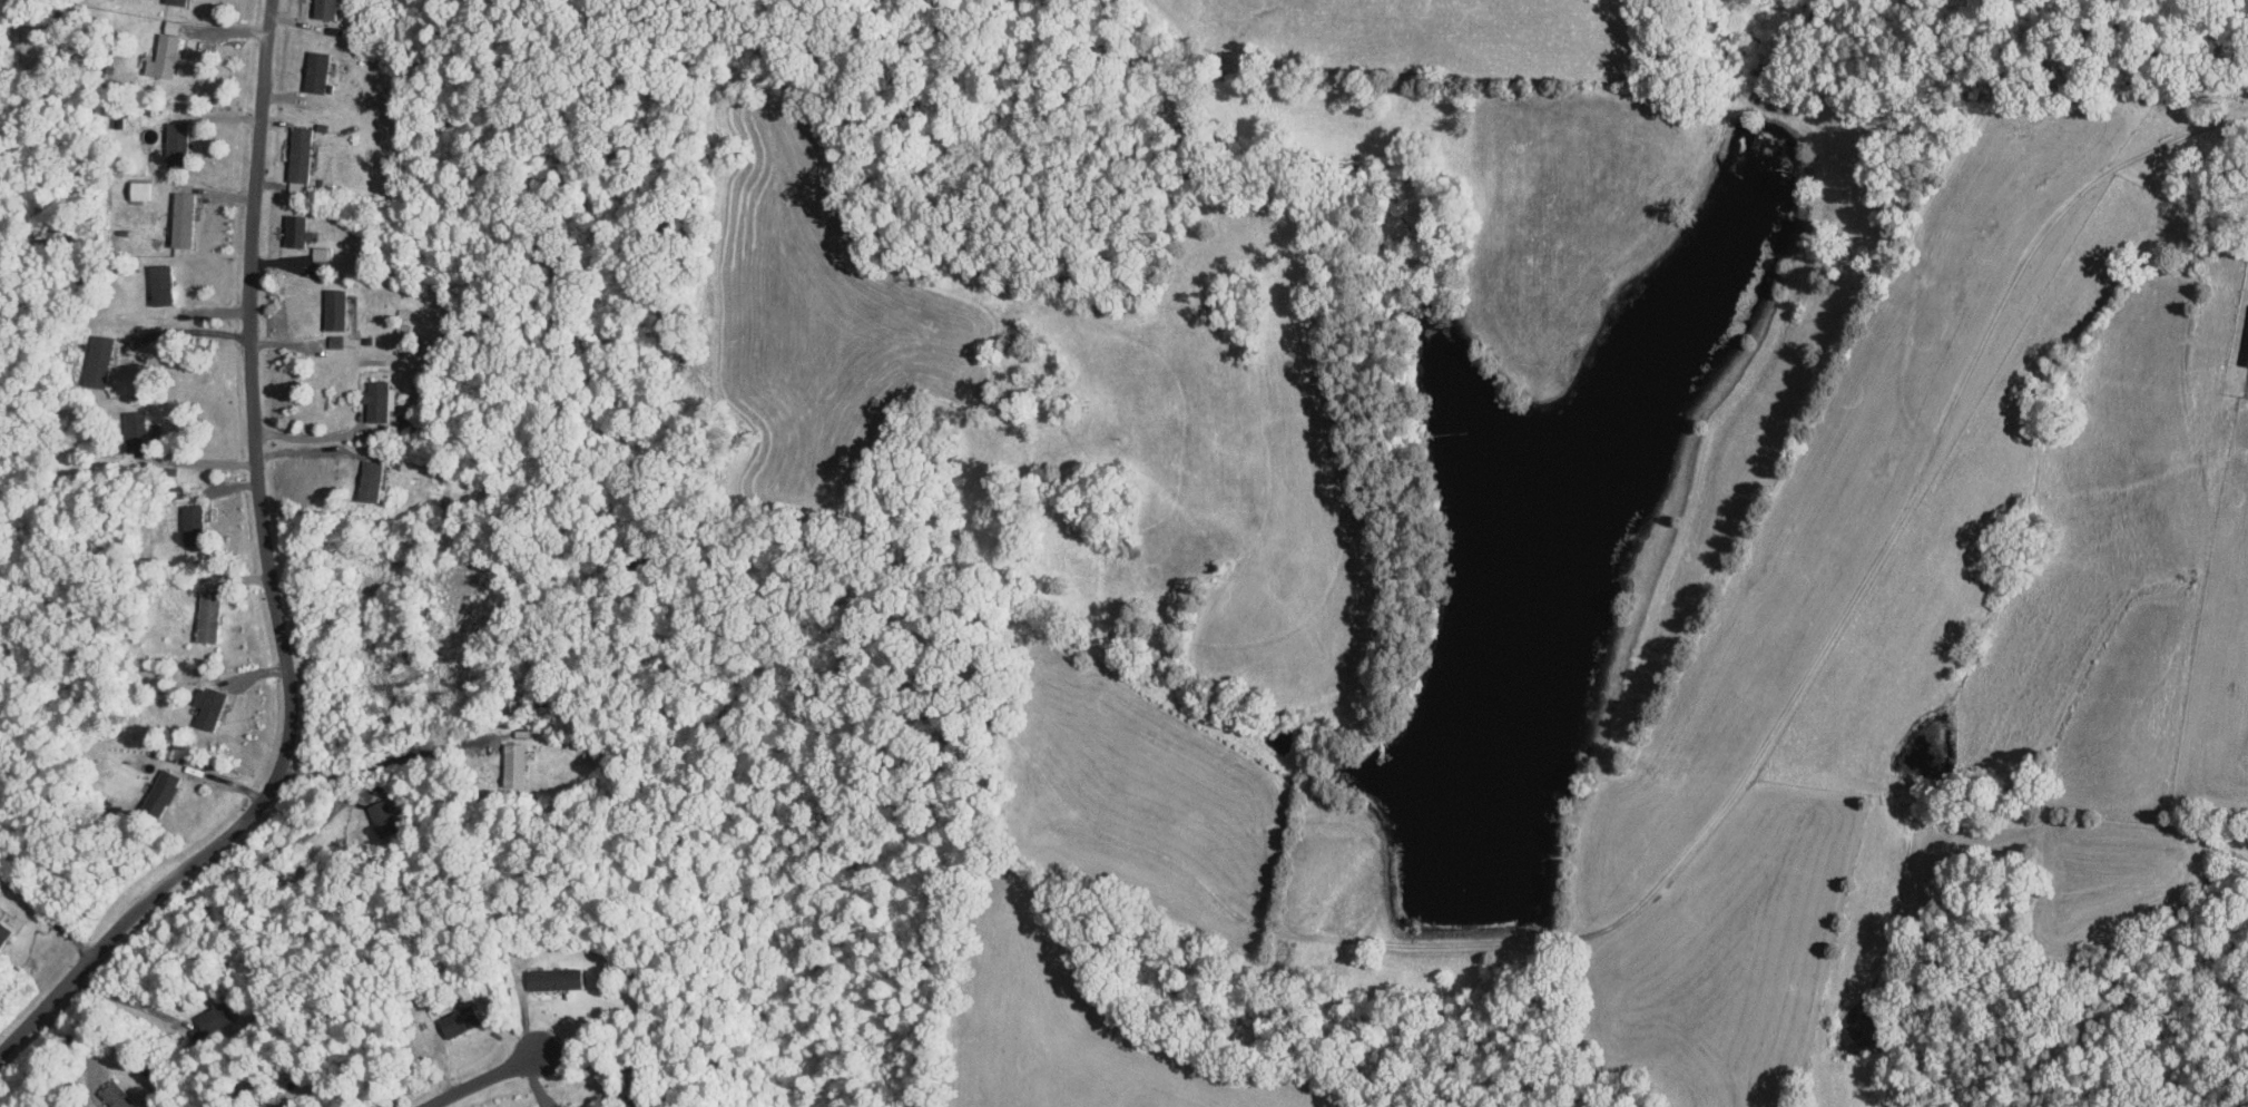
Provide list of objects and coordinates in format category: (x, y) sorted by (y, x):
building: (175, 1)
building: (323, 9)
building: (161, 55)
building: (314, 70)
building: (174, 136)
building: (297, 153)
building: (138, 189)
building: (179, 218)
building: (294, 231)
building: (158, 283)
building: (333, 307)
road: (194, 330)
building: (334, 340)
building: (2246, 356)
building: (97, 360)
building: (376, 400)
building: (136, 425)
road: (308, 435)
road: (197, 461)
building: (369, 480)
building: (189, 516)
road: (276, 584)
building: (206, 616)
building: (206, 706)
road: (383, 761)
building: (512, 763)
building: (159, 792)
building: (385, 812)
road: (286, 845)
building: (552, 978)
road: (124, 1000)
building: (214, 1017)
building: (455, 1020)
road: (80, 1045)
road: (489, 1065)
building: (114, 1096)
building: (264, 1106)
building: (532, 1106)

